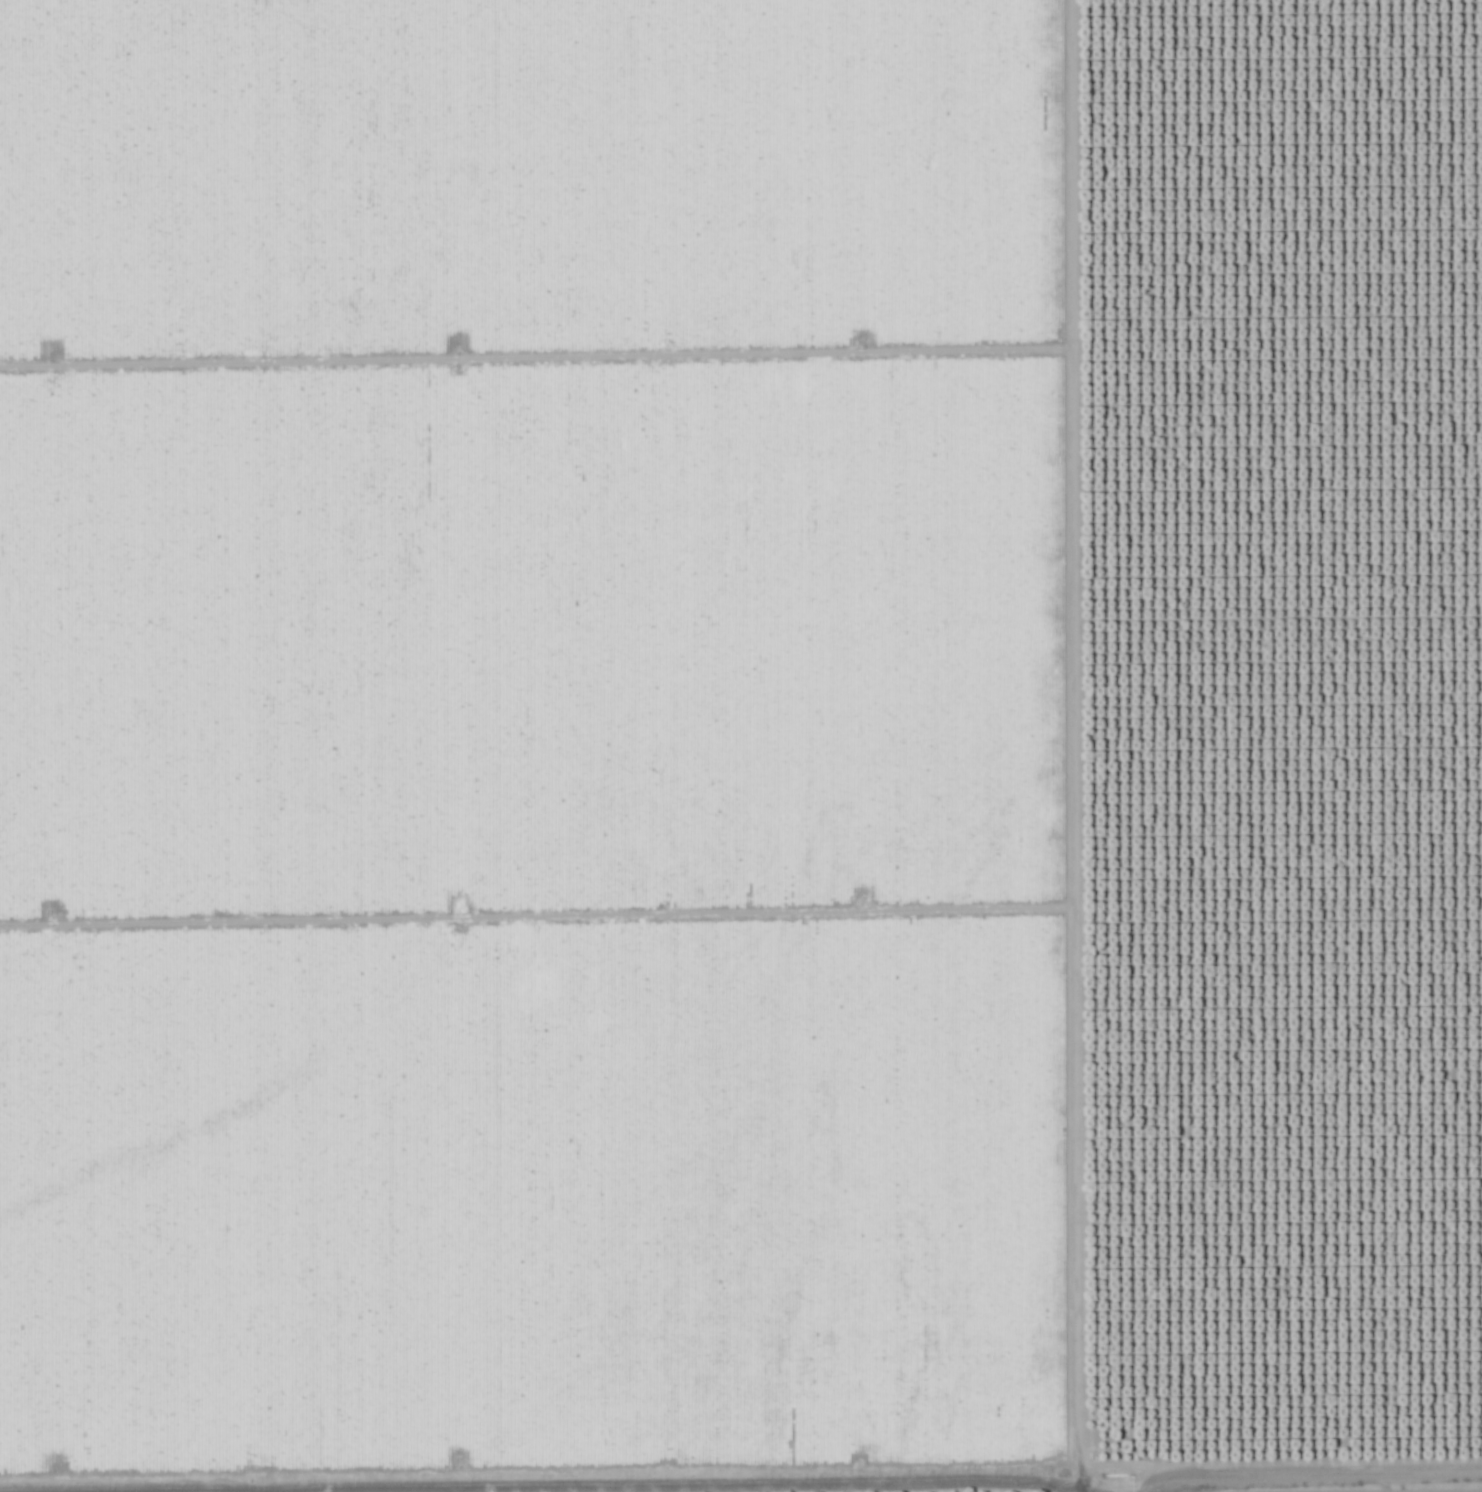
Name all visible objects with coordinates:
crop: (530, 738)
road: (1085, 746)

